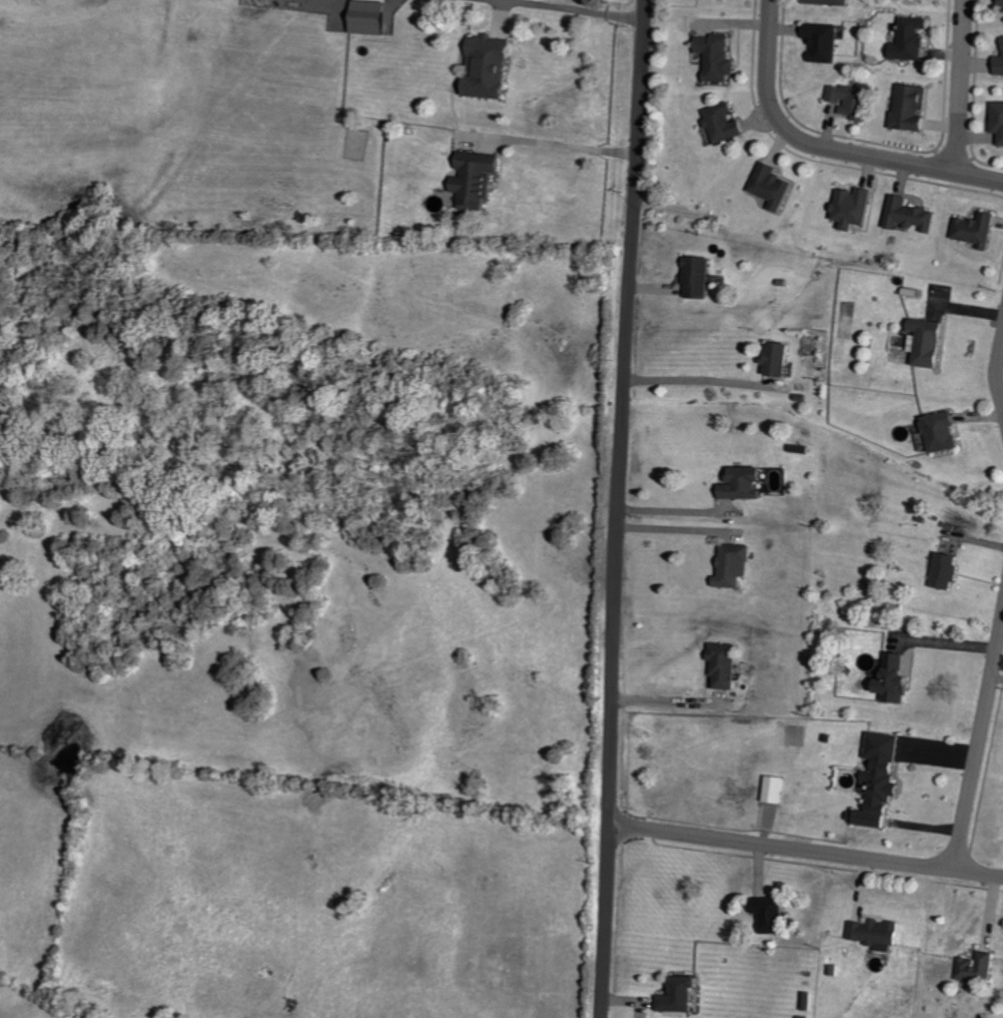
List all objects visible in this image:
building: (831, 2)
road: (772, 8)
road: (569, 9)
building: (374, 17)
building: (914, 39)
building: (826, 41)
building: (721, 57)
building: (492, 67)
road: (962, 86)
building: (854, 101)
building: (914, 108)
building: (999, 118)
building: (727, 123)
road: (556, 145)
road: (835, 149)
building: (478, 181)
building: (775, 186)
building: (857, 207)
building: (912, 215)
building: (979, 229)
building: (702, 278)
building: (783, 359)
road: (999, 369)
road: (698, 381)
building: (945, 432)
building: (748, 483)
road: (621, 508)
road: (674, 511)
building: (737, 566)
building: (948, 571)
building: (727, 665)
building: (898, 680)
road: (664, 703)
road: (978, 747)
building: (883, 780)
building: (778, 789)
road: (805, 851)
building: (774, 915)
building: (878, 934)
building: (979, 969)
building: (682, 996)

